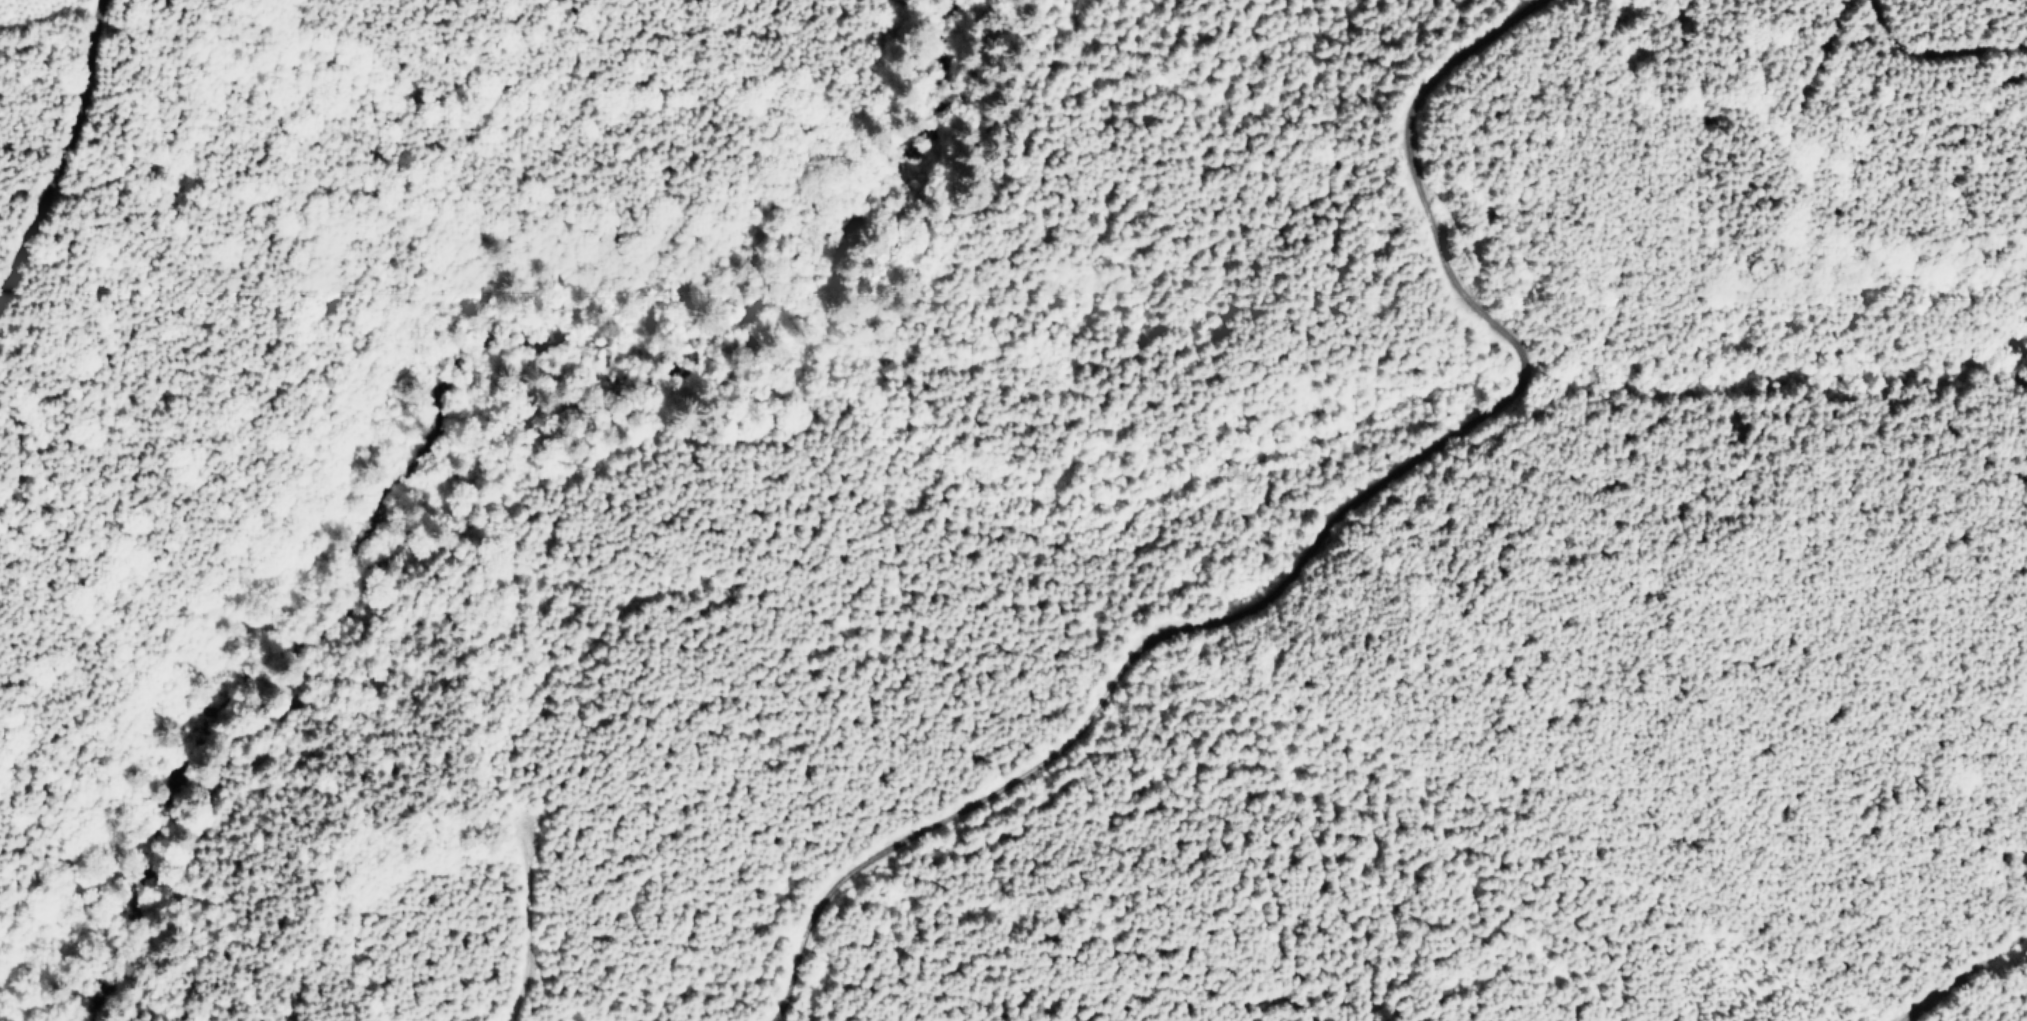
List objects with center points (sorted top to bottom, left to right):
road: (82, 173)

